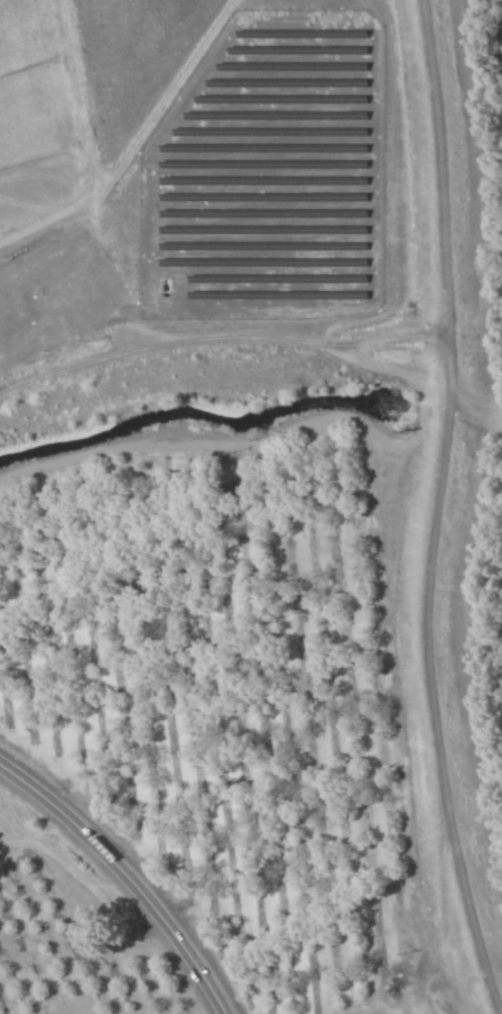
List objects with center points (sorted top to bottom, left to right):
road: (218, 338)
road: (434, 509)
road: (126, 877)

